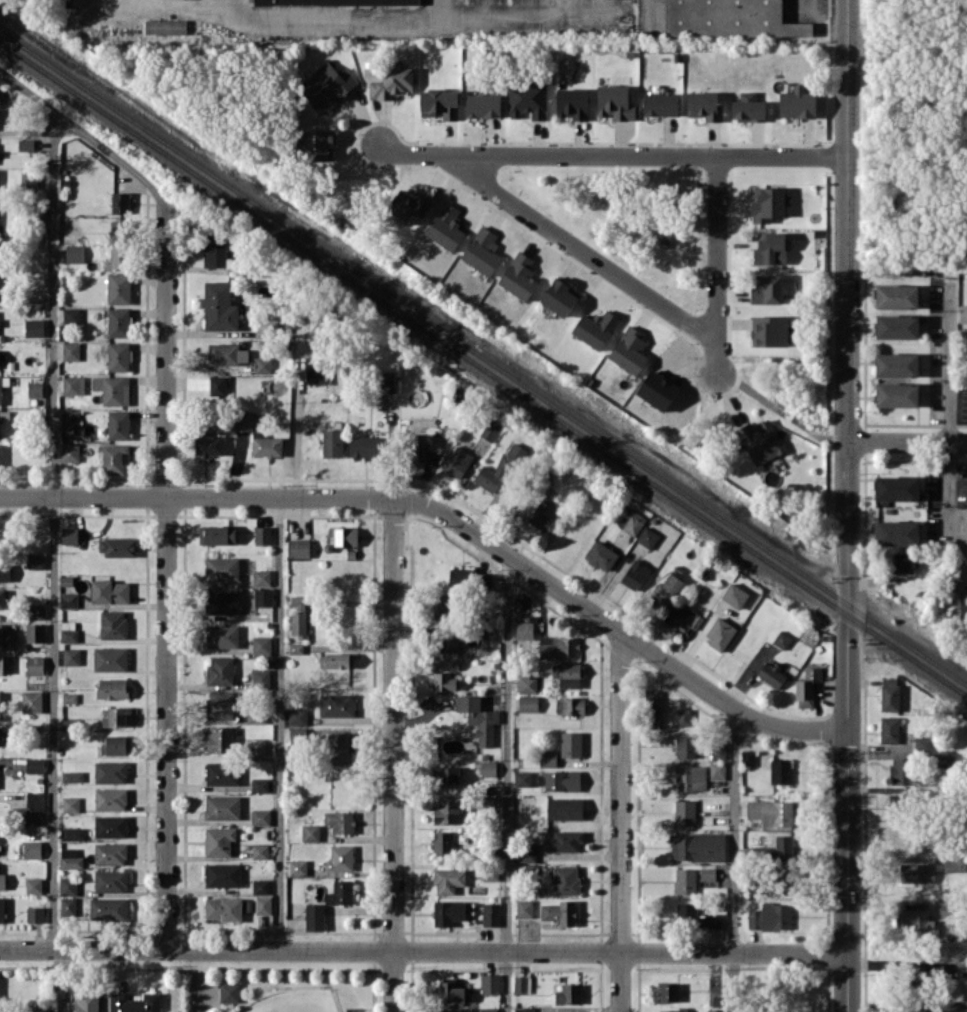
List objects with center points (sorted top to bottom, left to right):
building: (334, 0)
road: (167, 2)
building: (728, 17)
road: (532, 21)
road: (820, 22)
road: (336, 23)
building: (163, 24)
building: (392, 83)
building: (327, 86)
building: (527, 99)
building: (615, 102)
building: (798, 102)
building: (439, 103)
building: (572, 103)
building: (660, 103)
building: (482, 105)
building: (704, 105)
building: (748, 107)
road: (89, 134)
building: (26, 144)
building: (318, 145)
road: (611, 154)
building: (29, 180)
building: (120, 202)
building: (768, 203)
building: (408, 206)
building: (445, 226)
building: (119, 230)
road: (576, 247)
building: (770, 248)
building: (482, 250)
building: (74, 253)
building: (215, 254)
building: (118, 257)
road: (716, 263)
building: (519, 276)
building: (118, 287)
building: (767, 289)
building: (896, 296)
building: (560, 297)
building: (219, 306)
building: (963, 313)
building: (71, 316)
building: (119, 322)
building: (897, 326)
building: (34, 327)
building: (595, 328)
building: (769, 330)
building: (965, 339)
building: (629, 350)
building: (71, 351)
building: (227, 353)
building: (118, 356)
railway: (483, 357)
building: (0, 359)
building: (263, 364)
building: (897, 364)
railway: (483, 369)
building: (315, 370)
building: (386, 381)
building: (73, 385)
building: (217, 386)
building: (35, 389)
building: (112, 389)
building: (0, 390)
building: (657, 390)
building: (897, 394)
road: (780, 409)
building: (69, 419)
building: (242, 420)
building: (118, 424)
building: (490, 430)
road: (949, 437)
building: (759, 440)
building: (332, 442)
road: (906, 442)
building: (437, 443)
building: (208, 444)
building: (266, 445)
building: (366, 446)
building: (70, 452)
building: (515, 452)
building: (1, 456)
building: (115, 458)
building: (457, 463)
building: (486, 479)
building: (896, 487)
road: (196, 495)
road: (846, 505)
building: (541, 516)
building: (631, 521)
road: (52, 531)
building: (897, 532)
building: (217, 534)
building: (262, 535)
building: (69, 537)
building: (341, 537)
building: (647, 537)
building: (117, 546)
building: (298, 547)
building: (601, 555)
building: (35, 561)
building: (901, 563)
building: (221, 568)
building: (4, 573)
building: (635, 574)
building: (457, 575)
building: (261, 577)
road: (165, 579)
building: (668, 586)
building: (110, 591)
building: (734, 595)
building: (263, 596)
building: (2, 598)
building: (68, 599)
building: (221, 602)
building: (442, 605)
building: (36, 612)
building: (299, 615)
building: (679, 619)
building: (113, 624)
road: (615, 627)
building: (524, 630)
building: (35, 632)
building: (719, 633)
building: (6, 635)
building: (221, 636)
building: (782, 639)
building: (447, 643)
building: (261, 644)
building: (557, 646)
building: (295, 648)
building: (71, 656)
building: (110, 658)
building: (336, 660)
building: (34, 664)
building: (5, 665)
building: (448, 665)
building: (220, 670)
building: (771, 674)
building: (570, 675)
building: (260, 677)
building: (441, 680)
building: (526, 683)
building: (807, 686)
building: (112, 688)
building: (889, 693)
building: (69, 697)
building: (32, 701)
building: (528, 703)
building: (220, 704)
building: (336, 705)
building: (570, 705)
building: (652, 706)
building: (0, 711)
building: (120, 716)
building: (255, 716)
building: (297, 716)
building: (683, 716)
building: (478, 718)
road: (279, 722)
building: (889, 729)
building: (297, 734)
building: (1, 736)
building: (219, 739)
building: (922, 743)
building: (571, 744)
building: (116, 745)
building: (685, 745)
building: (256, 747)
building: (339, 747)
building: (718, 751)
road: (393, 754)
building: (547, 757)
building: (747, 757)
building: (34, 765)
building: (488, 768)
building: (780, 770)
building: (900, 770)
building: (717, 771)
building: (110, 772)
building: (222, 773)
building: (446, 775)
building: (72, 776)
building: (522, 778)
building: (690, 778)
building: (562, 780)
road: (506, 782)
building: (259, 784)
building: (110, 799)
building: (893, 799)
building: (491, 803)
building: (71, 804)
building: (222, 807)
building: (33, 808)
building: (564, 808)
building: (447, 812)
building: (684, 812)
building: (771, 812)
building: (260, 817)
building: (339, 821)
road: (619, 821)
building: (110, 826)
building: (310, 832)
building: (73, 833)
building: (565, 840)
building: (219, 841)
building: (443, 842)
building: (697, 846)
building: (774, 848)
building: (32, 849)
building: (260, 851)
building: (527, 852)
building: (110, 853)
building: (70, 858)
building: (340, 858)
road: (733, 861)
building: (298, 867)
building: (529, 871)
building: (915, 873)
building: (222, 874)
building: (707, 874)
building: (565, 879)
building: (110, 880)
building: (448, 880)
building: (685, 880)
building: (2, 881)
building: (33, 885)
building: (68, 885)
building: (260, 886)
building: (340, 893)
building: (262, 904)
building: (67, 906)
building: (108, 908)
building: (222, 908)
building: (524, 908)
building: (2, 909)
building: (947, 909)
building: (448, 912)
building: (558, 912)
building: (490, 913)
building: (35, 914)
building: (314, 916)
building: (694, 916)
building: (770, 916)
building: (913, 918)
road: (423, 950)
road: (899, 966)
road: (199, 976)
building: (490, 983)
building: (521, 984)
building: (448, 990)
park: (270, 991)
building: (229, 992)
building: (668, 992)
building: (568, 994)
building: (134, 1002)
building: (83, 1003)
building: (954, 1005)
building: (41, 1008)
building: (352, 1009)
building: (455, 1009)
building: (488, 1009)
building: (523, 1009)
building: (671, 1010)
building: (714, 1010)
building: (576, 1011)

